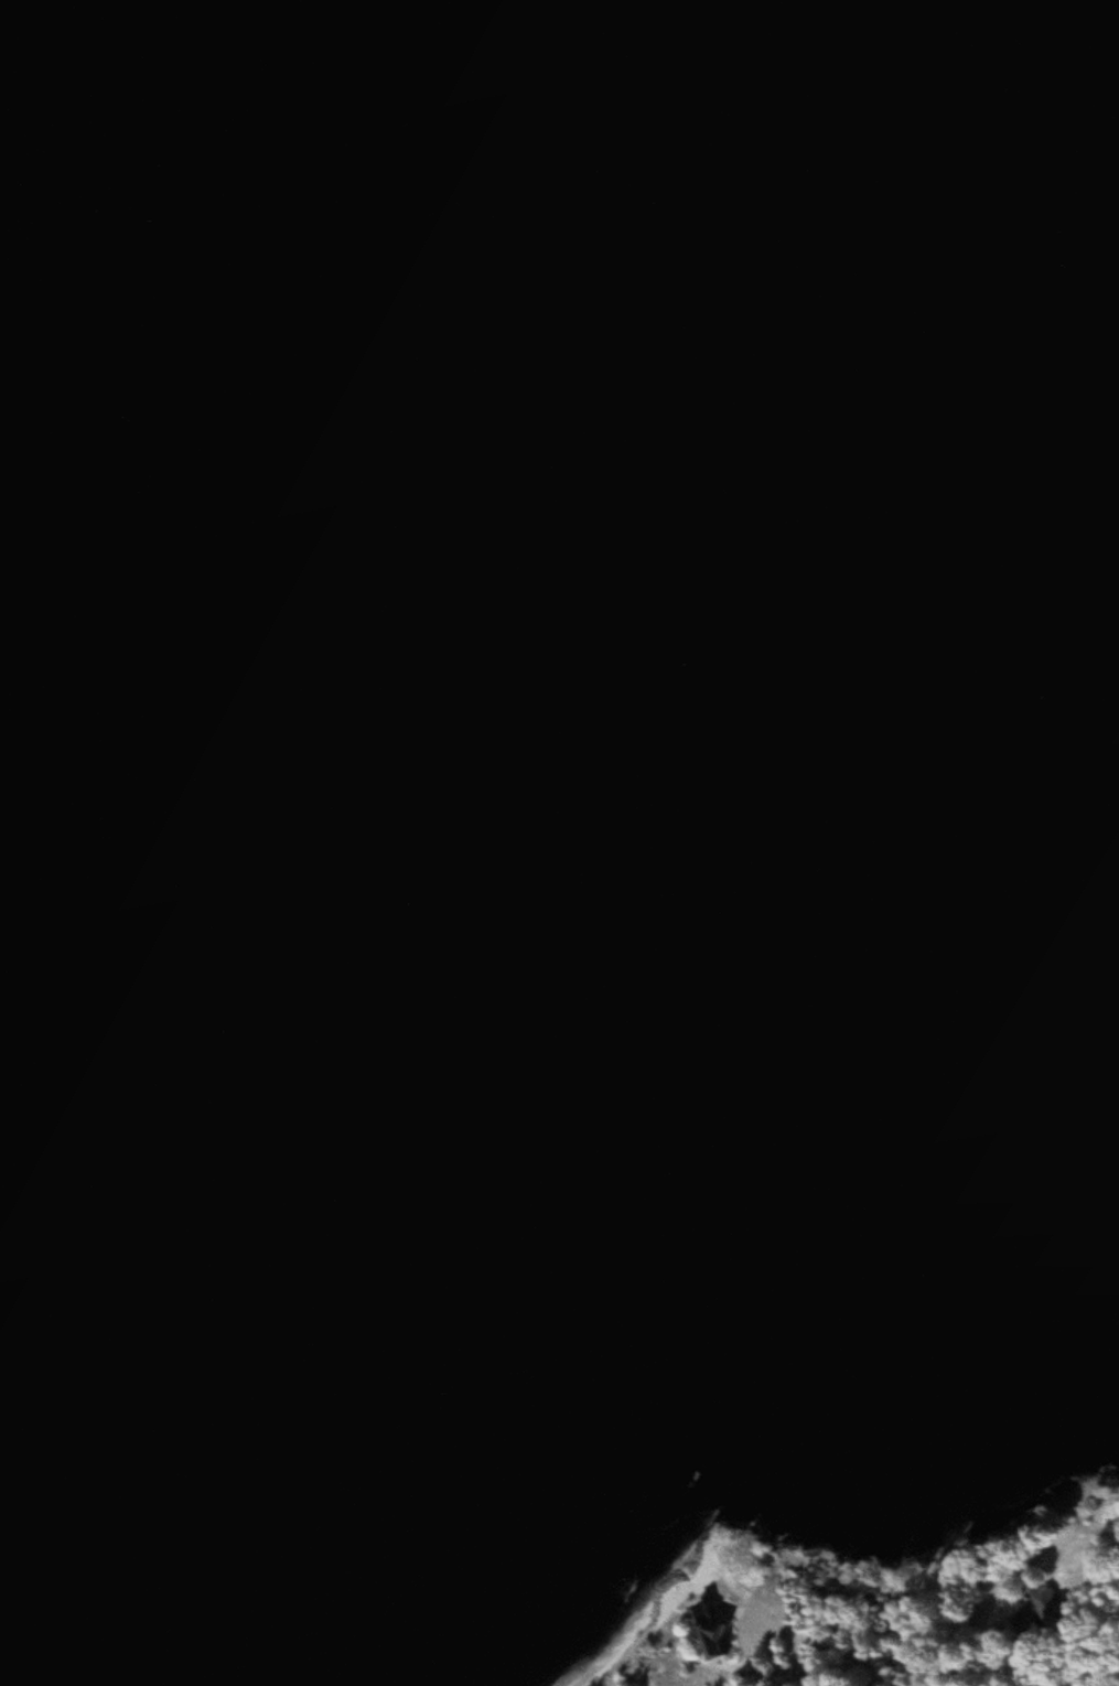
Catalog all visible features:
building: (1037, 1615)
building: (717, 1637)
road: (988, 1649)
road: (864, 1655)

